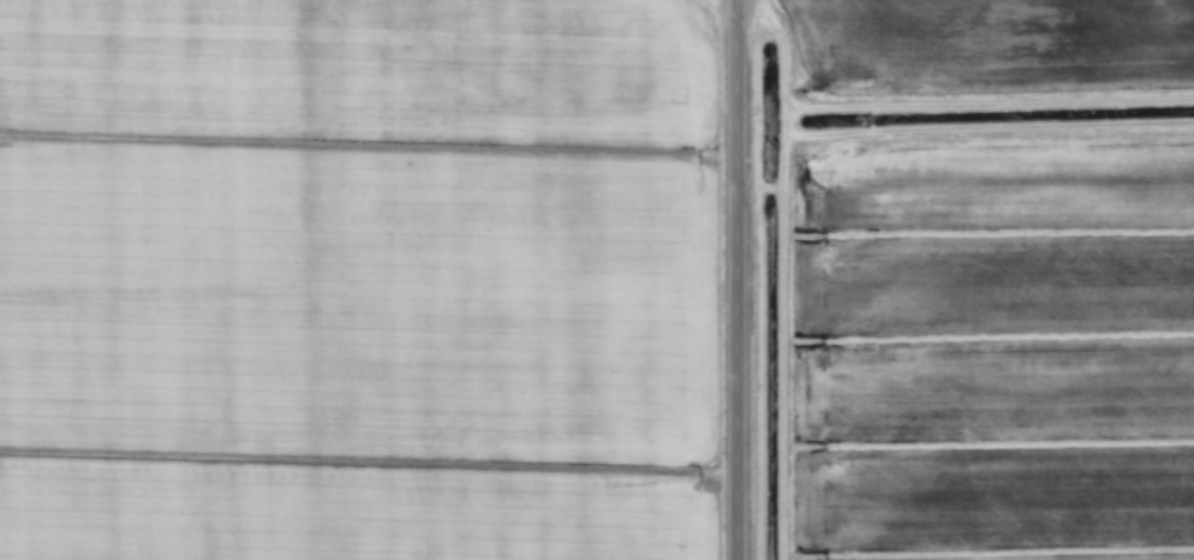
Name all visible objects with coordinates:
road: (734, 280)

